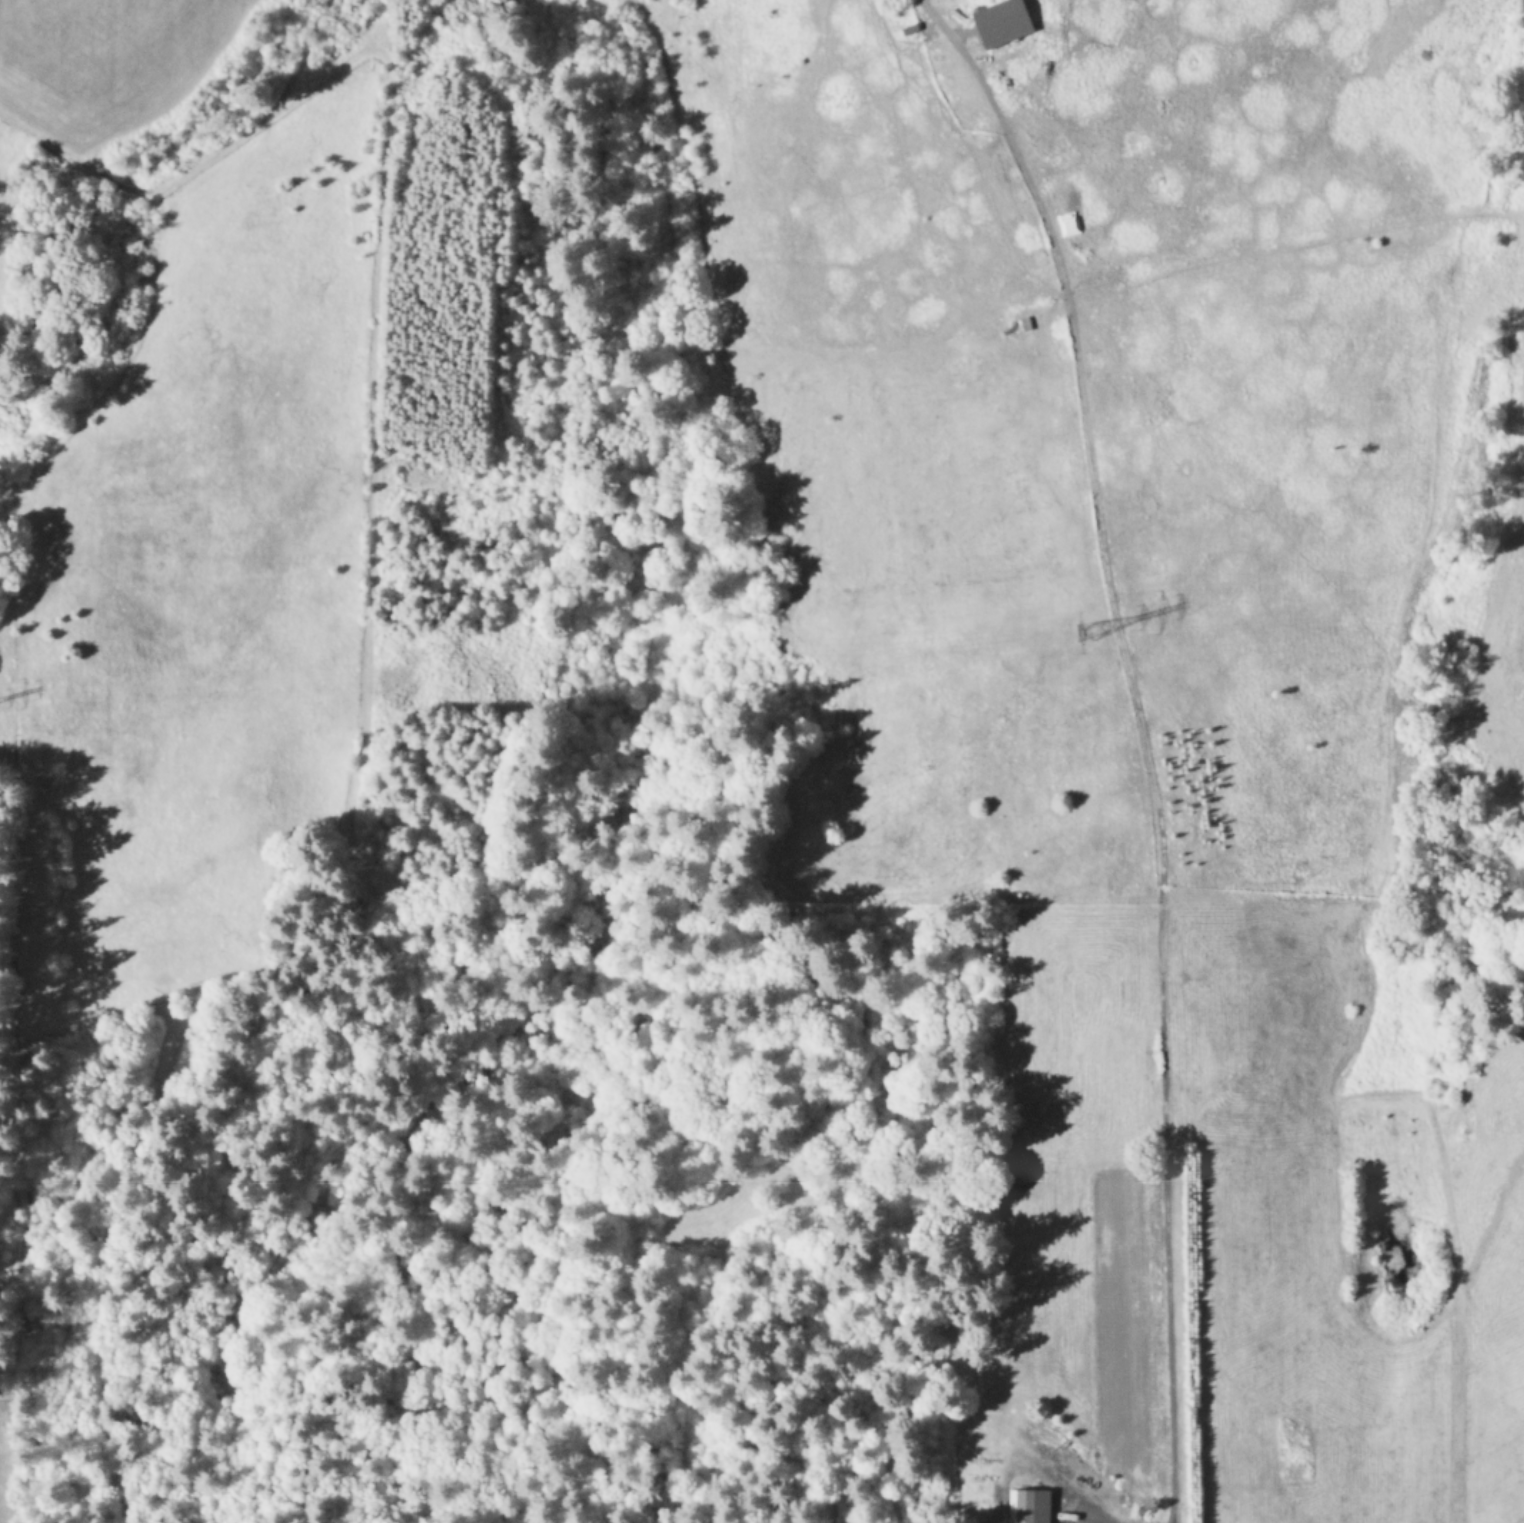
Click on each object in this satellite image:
road: (936, 21)
building: (997, 22)
crop: (103, 77)
power tower: (1083, 628)
building: (1028, 1505)

